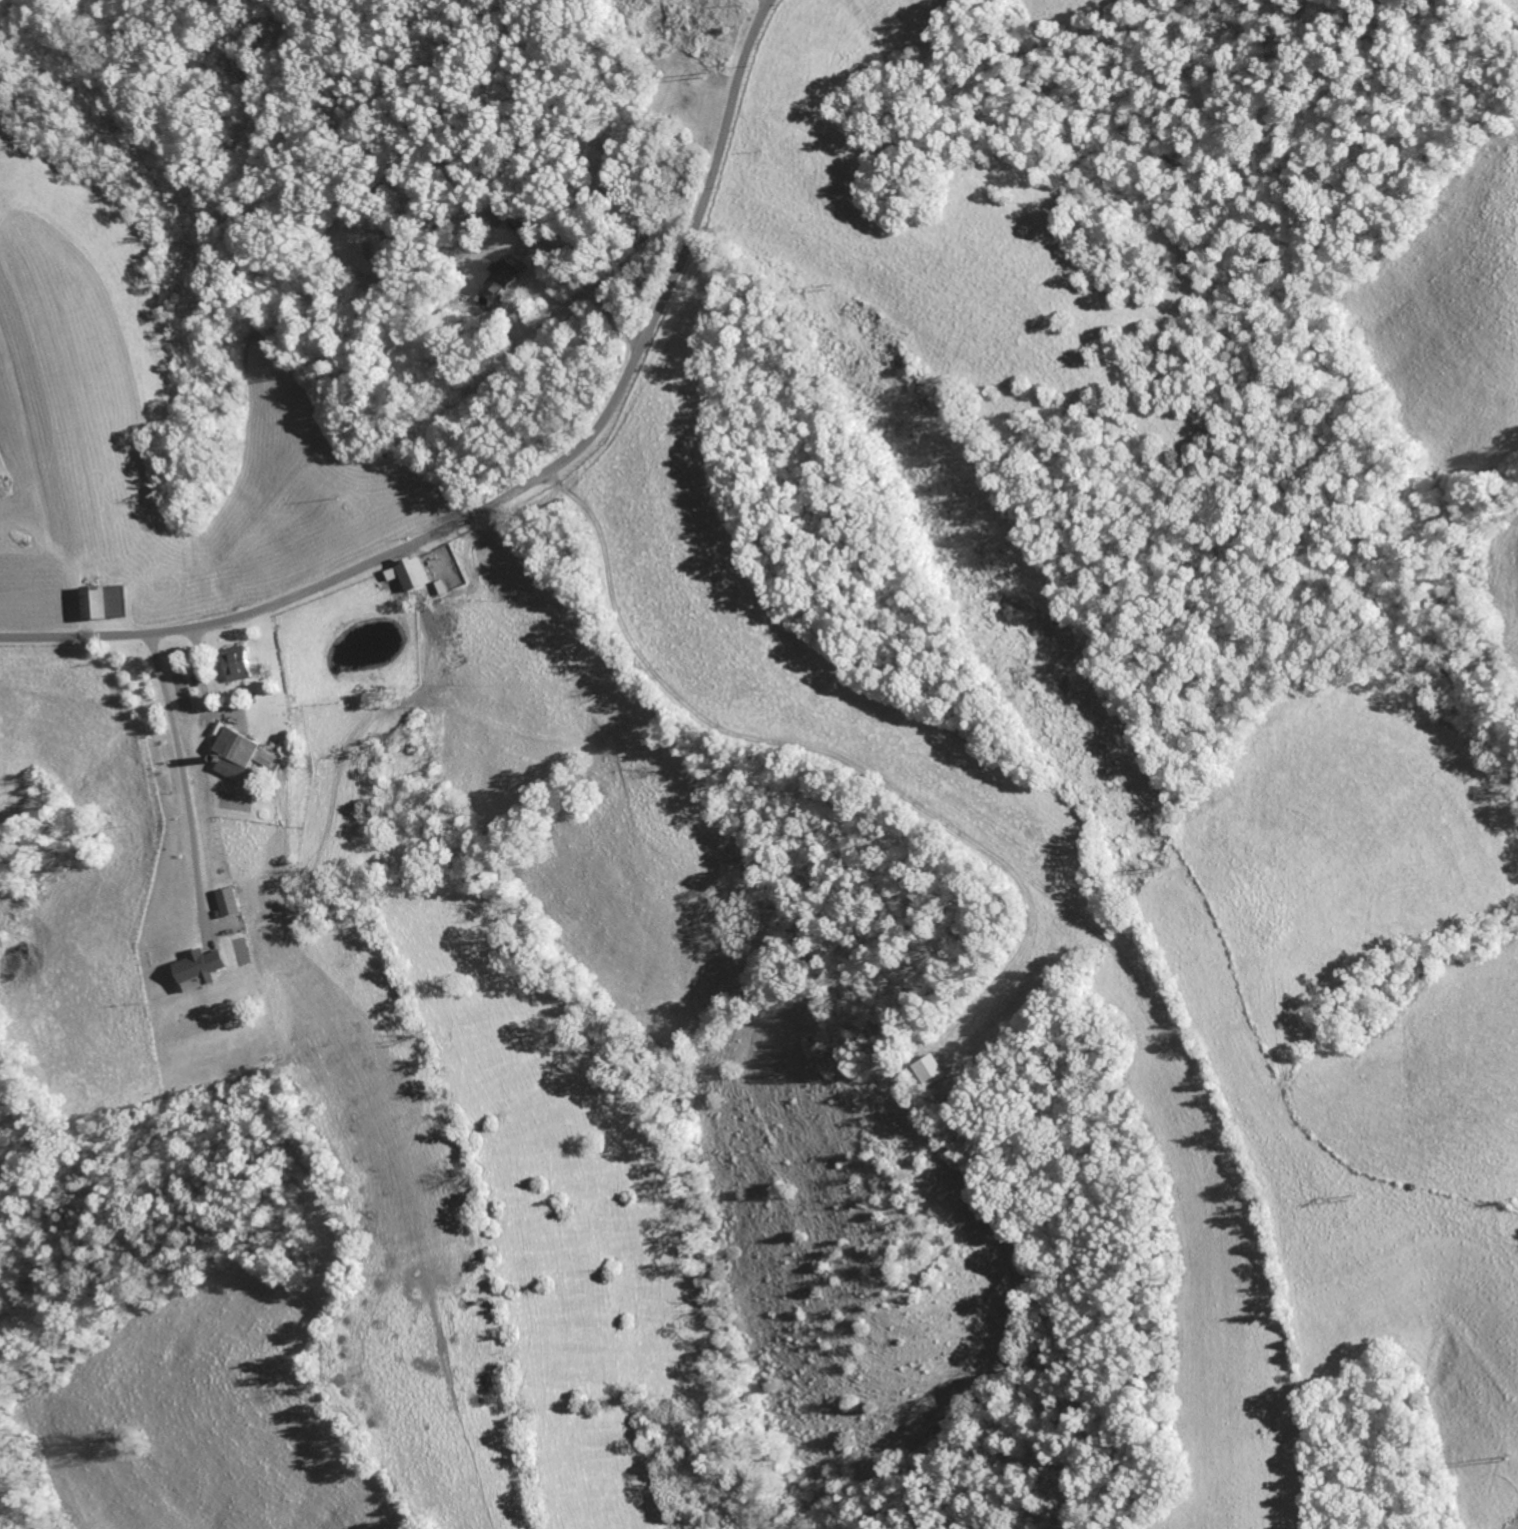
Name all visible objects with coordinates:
power tower: (711, 72)
power tower: (834, 280)
road: (591, 282)
road: (527, 487)
building: (412, 573)
building: (108, 602)
building: (240, 663)
building: (239, 755)
building: (230, 902)
building: (200, 969)
power tower: (1363, 1192)
power tower: (1508, 1454)

